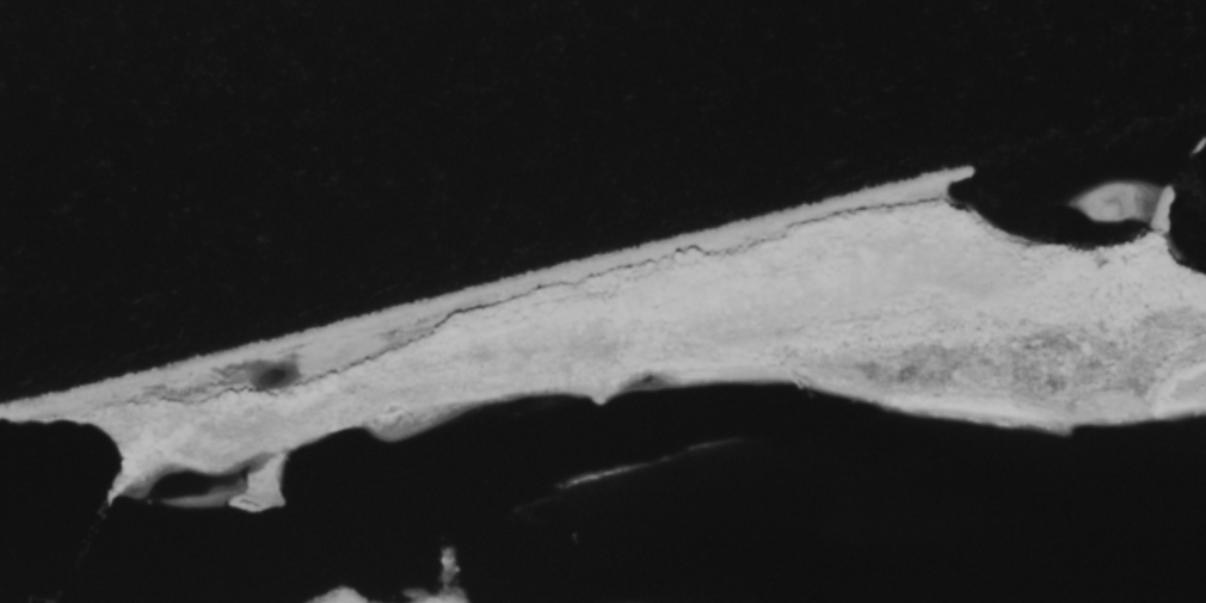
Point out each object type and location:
river: (347, 70)

